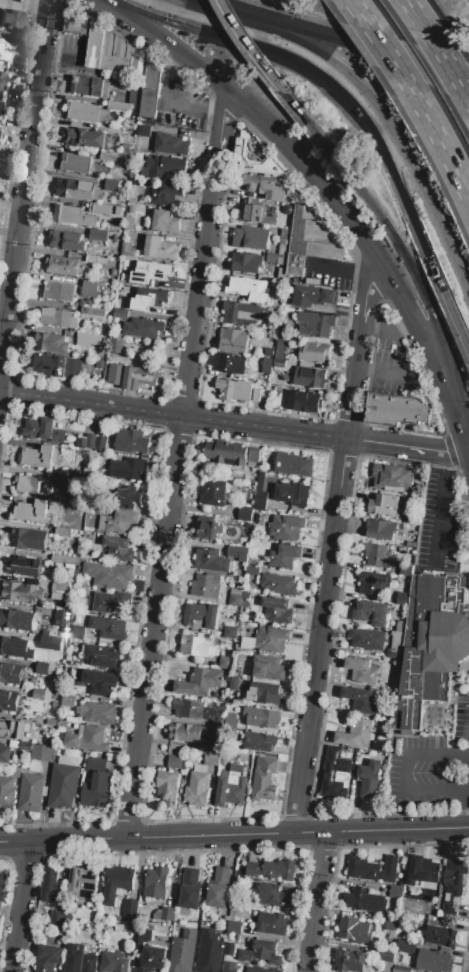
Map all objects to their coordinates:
road: (207, 5)
road: (353, 6)
road: (417, 17)
building: (11, 19)
building: (77, 23)
road: (319, 32)
building: (95, 46)
road: (249, 48)
road: (312, 49)
building: (116, 53)
road: (275, 53)
building: (3, 54)
road: (388, 57)
building: (139, 61)
road: (449, 68)
road: (438, 69)
road: (438, 72)
building: (153, 73)
building: (2, 80)
building: (90, 87)
building: (137, 89)
building: (149, 103)
building: (0, 105)
building: (118, 106)
building: (87, 113)
building: (143, 131)
building: (85, 138)
road: (324, 143)
building: (171, 145)
road: (444, 152)
building: (109, 157)
building: (254, 161)
building: (77, 164)
building: (163, 167)
road: (24, 178)
building: (112, 186)
building: (264, 187)
building: (78, 190)
road: (328, 192)
building: (166, 194)
road: (428, 197)
building: (100, 210)
building: (118, 211)
building: (255, 213)
building: (73, 216)
building: (165, 222)
building: (129, 224)
building: (288, 226)
road: (419, 234)
building: (98, 235)
building: (250, 238)
building: (66, 241)
building: (310, 241)
building: (284, 242)
building: (160, 249)
building: (127, 250)
building: (92, 258)
building: (272, 259)
building: (283, 260)
building: (103, 261)
building: (246, 263)
building: (62, 267)
building: (150, 272)
building: (113, 273)
building: (90, 289)
building: (248, 289)
building: (59, 292)
building: (311, 296)
building: (149, 299)
road: (364, 309)
building: (120, 313)
building: (240, 313)
building: (92, 314)
road: (433, 317)
building: (57, 319)
road: (456, 319)
building: (314, 325)
building: (143, 328)
road: (388, 330)
building: (283, 333)
building: (88, 339)
building: (233, 340)
building: (51, 343)
building: (271, 343)
building: (116, 345)
building: (280, 350)
building: (314, 352)
building: (269, 353)
building: (226, 363)
building: (279, 364)
building: (49, 365)
building: (73, 368)
building: (247, 369)
building: (266, 371)
road: (395, 371)
building: (310, 377)
building: (133, 378)
building: (242, 391)
building: (260, 392)
building: (305, 402)
building: (397, 410)
road: (173, 414)
building: (43, 431)
building: (88, 442)
building: (131, 442)
building: (101, 444)
road: (407, 447)
building: (226, 454)
building: (254, 455)
road: (468, 456)
building: (41, 457)
road: (468, 457)
road: (176, 463)
building: (293, 465)
building: (128, 469)
building: (236, 474)
building: (52, 476)
building: (392, 477)
building: (67, 478)
building: (63, 484)
building: (32, 485)
building: (260, 488)
building: (213, 494)
building: (293, 494)
building: (128, 497)
building: (259, 505)
building: (384, 506)
road: (437, 509)
building: (34, 512)
building: (81, 514)
building: (245, 514)
building: (118, 522)
building: (286, 528)
building: (209, 529)
building: (380, 530)
building: (62, 532)
building: (28, 539)
building: (118, 550)
building: (237, 553)
building: (376, 555)
building: (284, 556)
building: (64, 560)
building: (211, 561)
building: (23, 566)
building: (405, 570)
building: (252, 571)
building: (109, 575)
building: (373, 583)
building: (279, 585)
building: (205, 586)
building: (59, 588)
building: (235, 591)
building: (22, 593)
building: (56, 597)
building: (402, 599)
road: (323, 600)
building: (234, 601)
building: (111, 603)
building: (275, 611)
building: (370, 614)
building: (200, 616)
building: (62, 618)
building: (16, 620)
building: (399, 627)
building: (108, 628)
building: (64, 632)
building: (45, 633)
building: (77, 633)
building: (229, 633)
building: (366, 639)
building: (271, 640)
building: (388, 640)
building: (398, 641)
building: (50, 643)
building: (247, 643)
building: (197, 647)
building: (429, 647)
building: (15, 648)
building: (101, 655)
building: (225, 663)
building: (68, 665)
building: (267, 667)
building: (44, 668)
building: (360, 670)
building: (70, 673)
building: (10, 674)
building: (198, 681)
building: (100, 683)
building: (233, 685)
building: (264, 694)
building: (38, 695)
building: (53, 695)
building: (47, 696)
building: (68, 700)
building: (8, 701)
building: (357, 702)
building: (54, 705)
building: (193, 710)
building: (98, 713)
building: (262, 718)
building: (230, 720)
building: (41, 722)
building: (61, 726)
building: (13, 730)
building: (186, 733)
building: (356, 734)
building: (88, 739)
building: (204, 741)
building: (211, 742)
building: (260, 742)
building: (14, 744)
building: (25, 746)
building: (203, 747)
building: (214, 748)
building: (42, 753)
building: (5, 754)
building: (212, 758)
building: (95, 762)
building: (177, 763)
building: (200, 768)
building: (45, 769)
building: (16, 772)
building: (336, 773)
building: (5, 774)
road: (403, 775)
building: (369, 779)
building: (264, 781)
building: (64, 783)
building: (232, 786)
building: (168, 787)
building: (97, 790)
building: (197, 790)
building: (31, 793)
building: (7, 794)
road: (466, 812)
road: (234, 836)
building: (272, 870)
building: (369, 871)
building: (422, 871)
building: (156, 883)
building: (82, 884)
building: (116, 884)
building: (397, 884)
building: (454, 885)
building: (50, 886)
building: (1, 888)
building: (218, 888)
building: (190, 890)
building: (395, 892)
building: (272, 896)
building: (360, 900)
road: (316, 902)
road: (20, 906)
building: (408, 908)
building: (130, 911)
building: (232, 913)
building: (167, 915)
building: (56, 918)
building: (272, 924)
building: (392, 924)
building: (120, 928)
building: (234, 928)
building: (354, 931)
building: (232, 937)
building: (440, 937)
building: (143, 938)
building: (405, 946)
building: (230, 949)
building: (182, 952)
building: (209, 952)
building: (261, 953)
building: (386, 955)
building: (48, 958)
building: (152, 959)
building: (80, 960)
building: (401, 960)
building: (349, 961)
building: (434, 961)
building: (114, 963)
building: (228, 966)
building: (387, 966)
building: (400, 969)
building: (261, 970)

